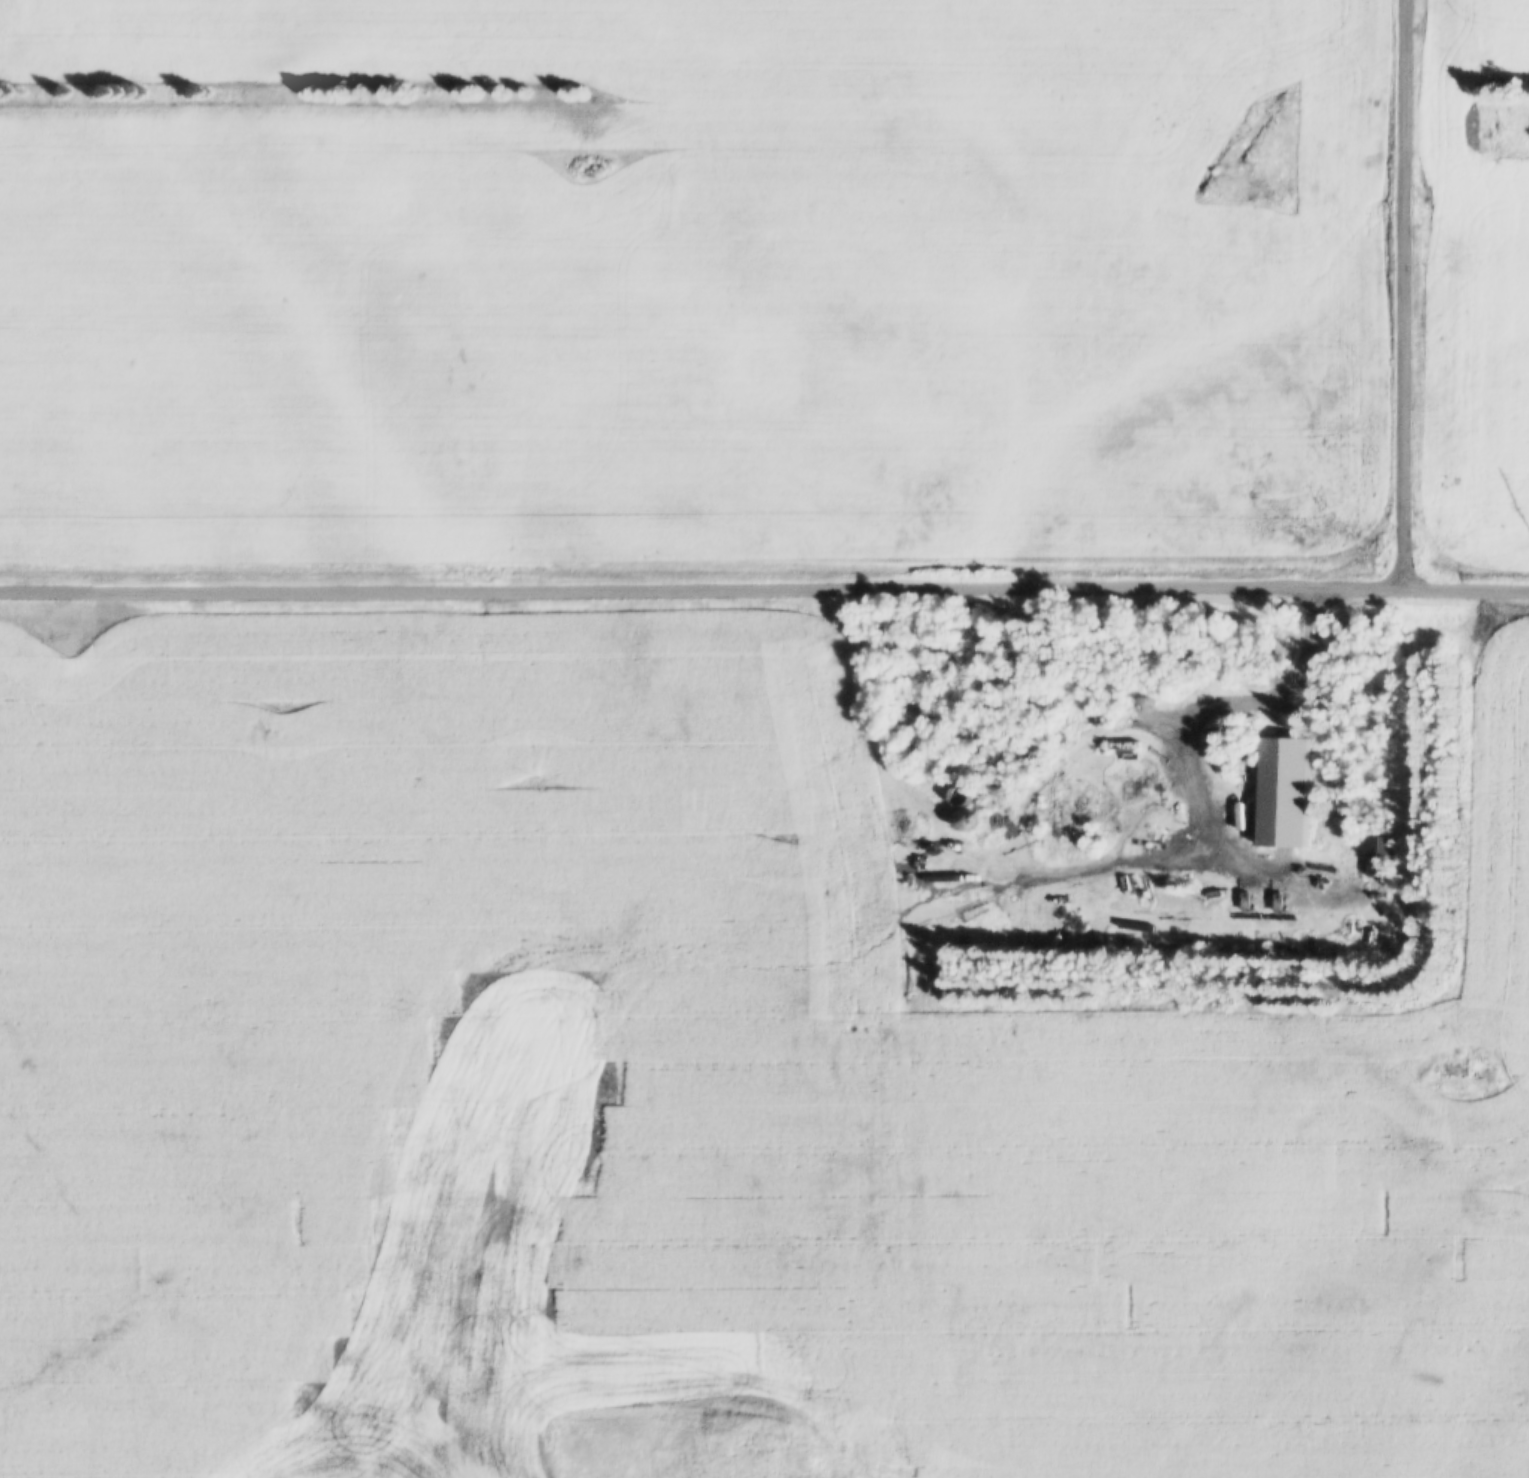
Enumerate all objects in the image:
road: (1407, 292)
road: (764, 585)
building: (1215, 735)
building: (1033, 754)
road: (1188, 756)
building: (962, 795)
building: (997, 805)
building: (1077, 818)
building: (1381, 855)
road: (891, 1029)

